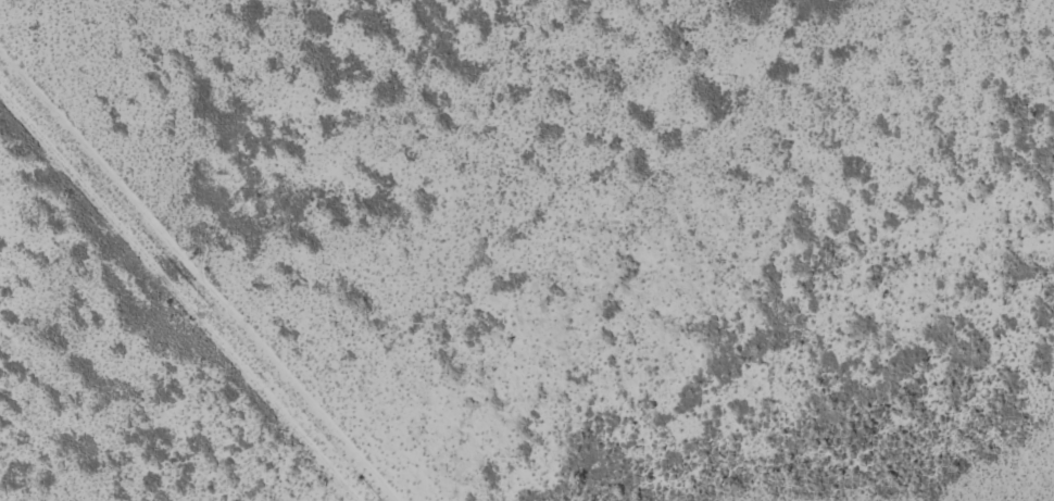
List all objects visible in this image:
road: (190, 288)

